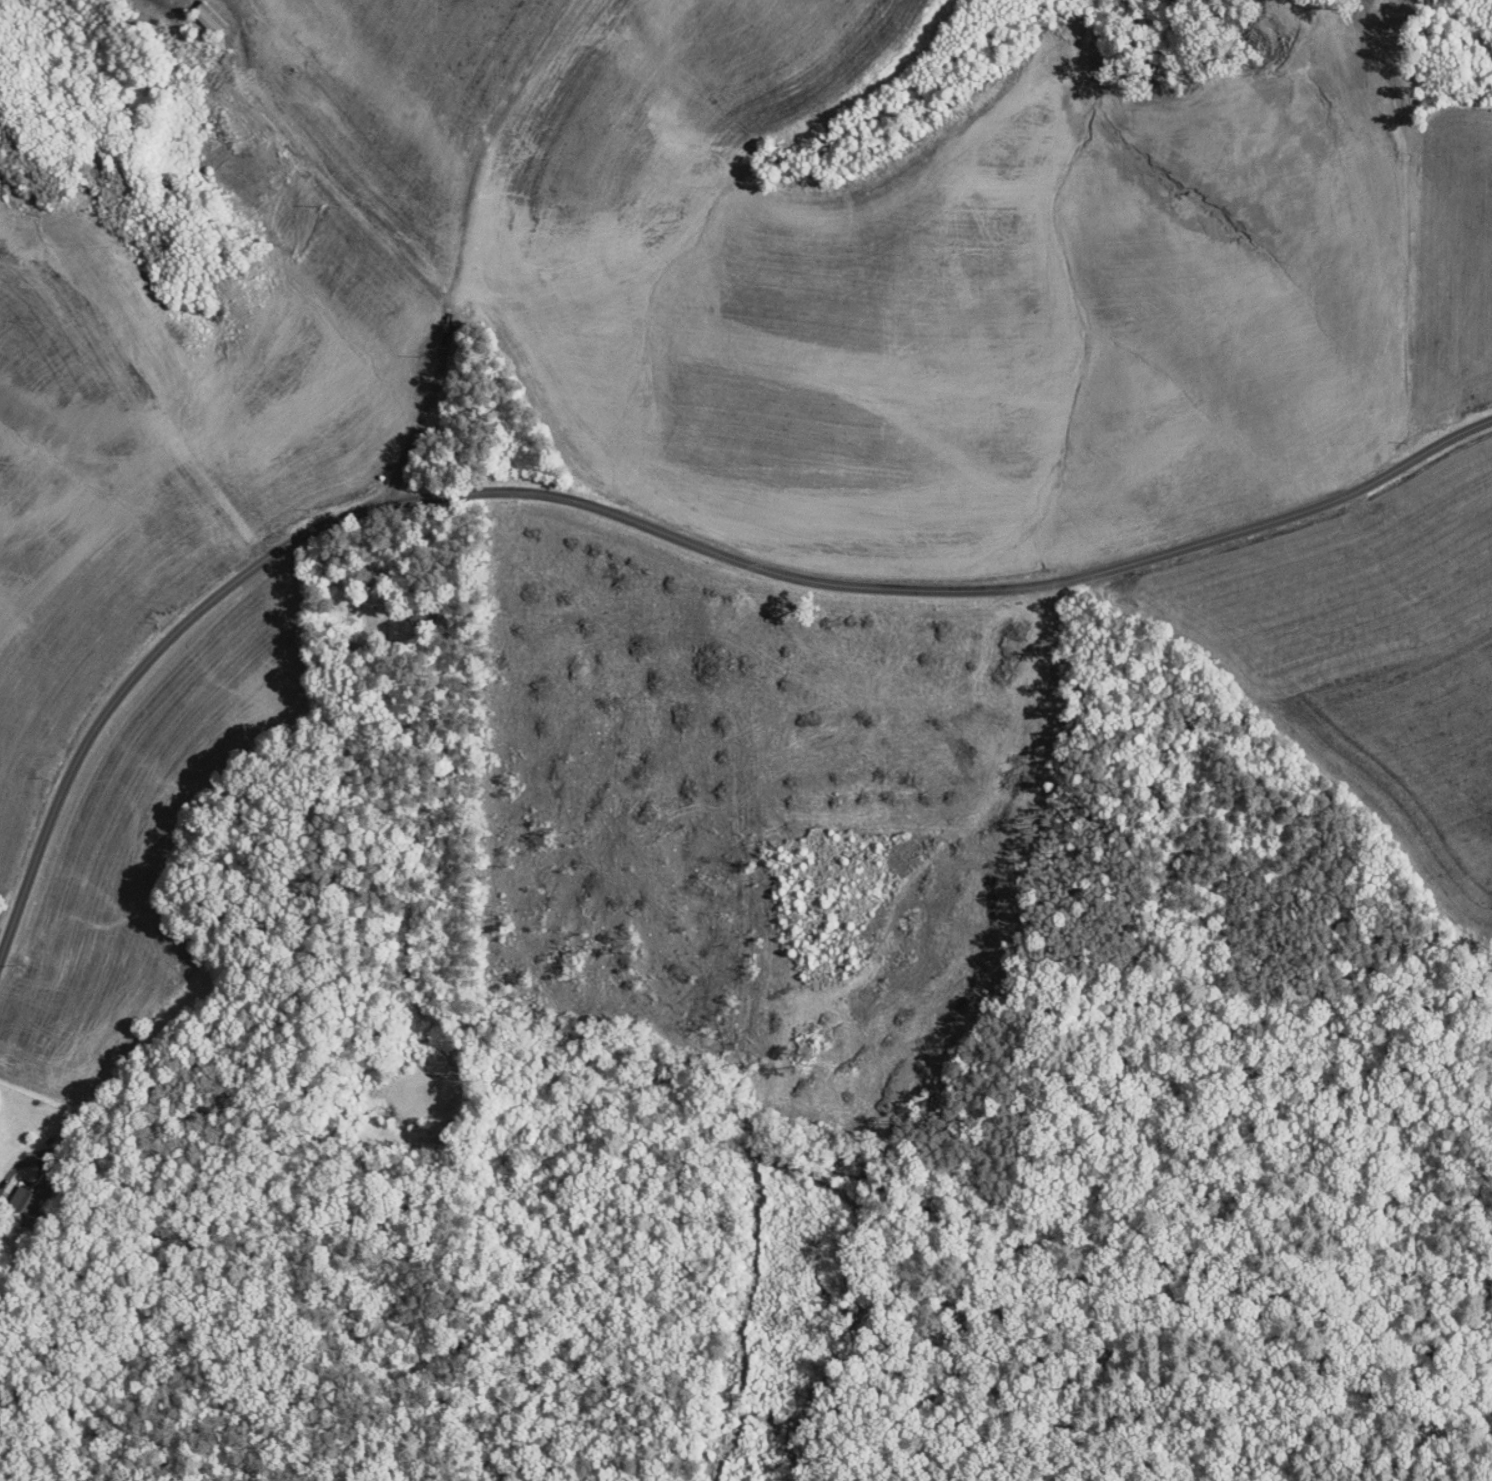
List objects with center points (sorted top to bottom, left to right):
road: (449, 123)
road: (394, 252)
road: (120, 394)
road: (647, 530)
building: (17, 1197)

